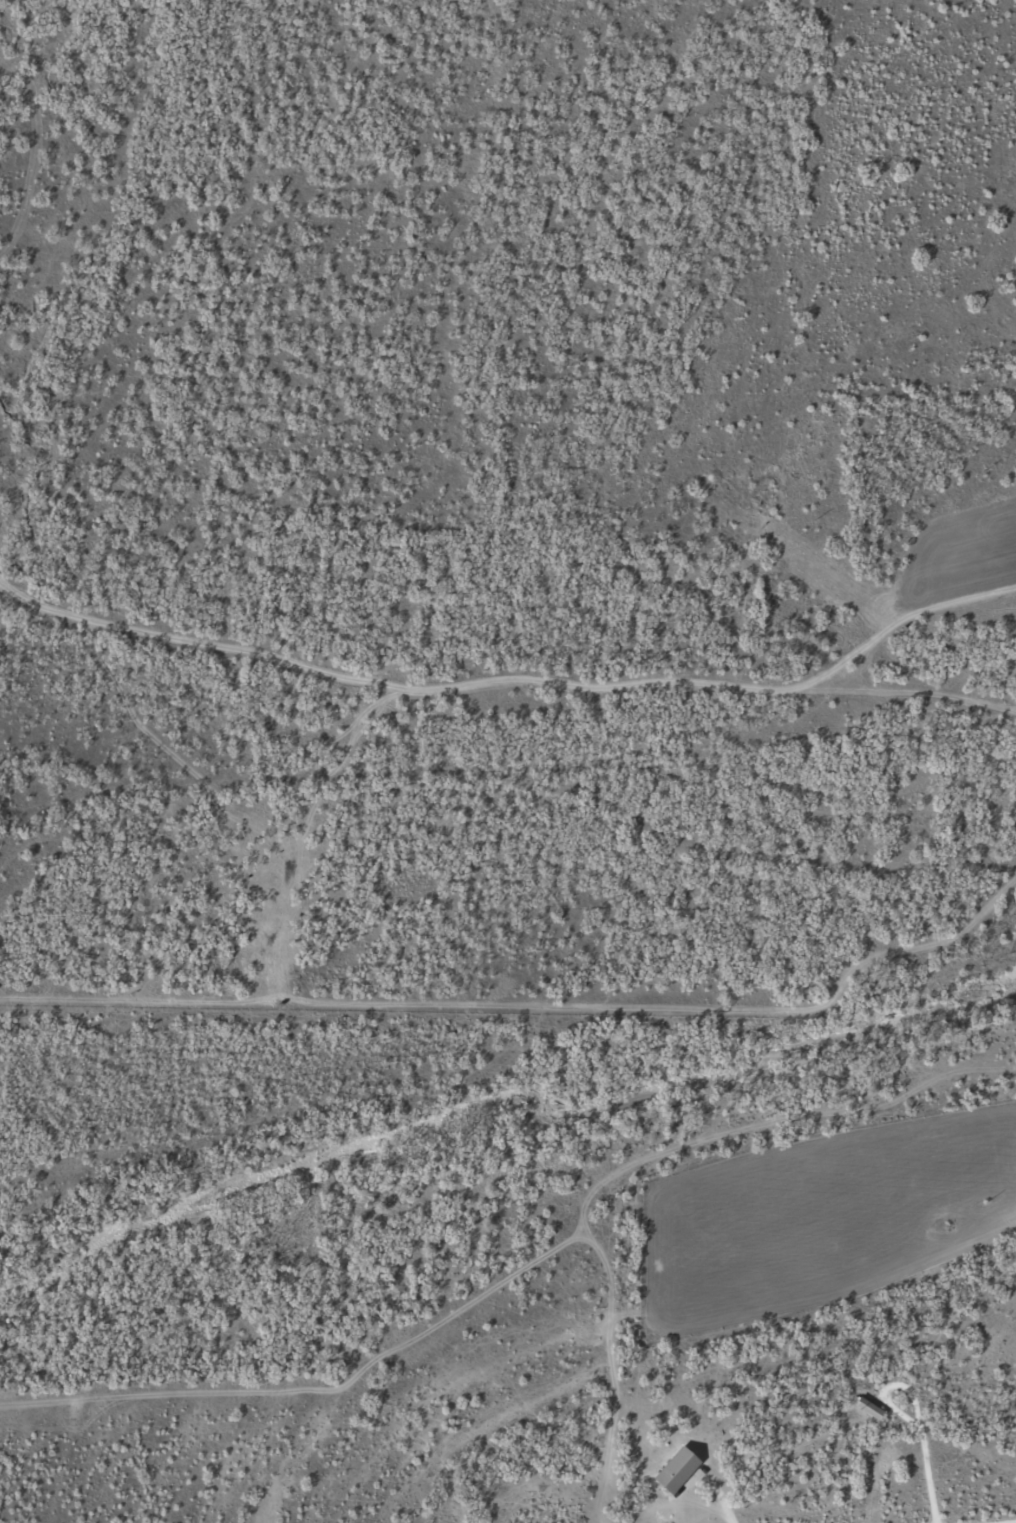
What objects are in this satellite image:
building: (864, 1408)
building: (671, 1470)
road: (1013, 1522)

